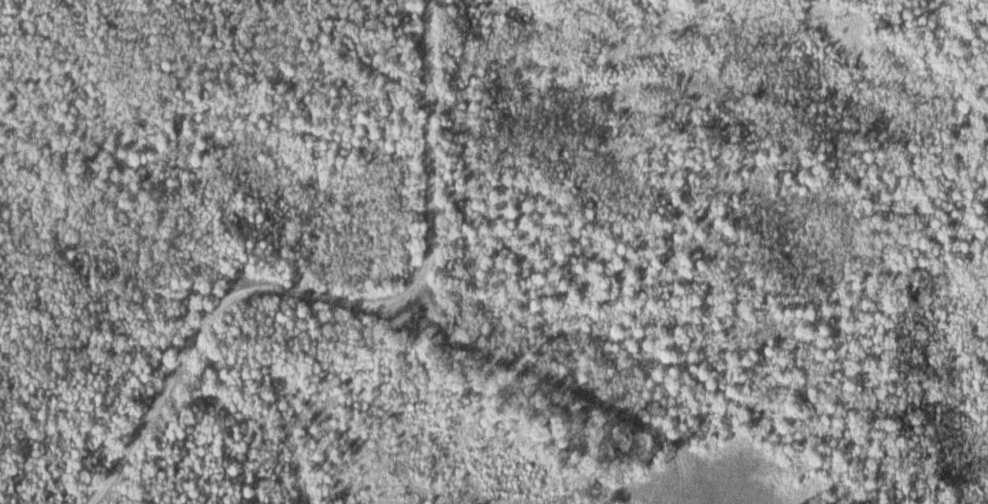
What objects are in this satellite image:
road: (350, 295)

